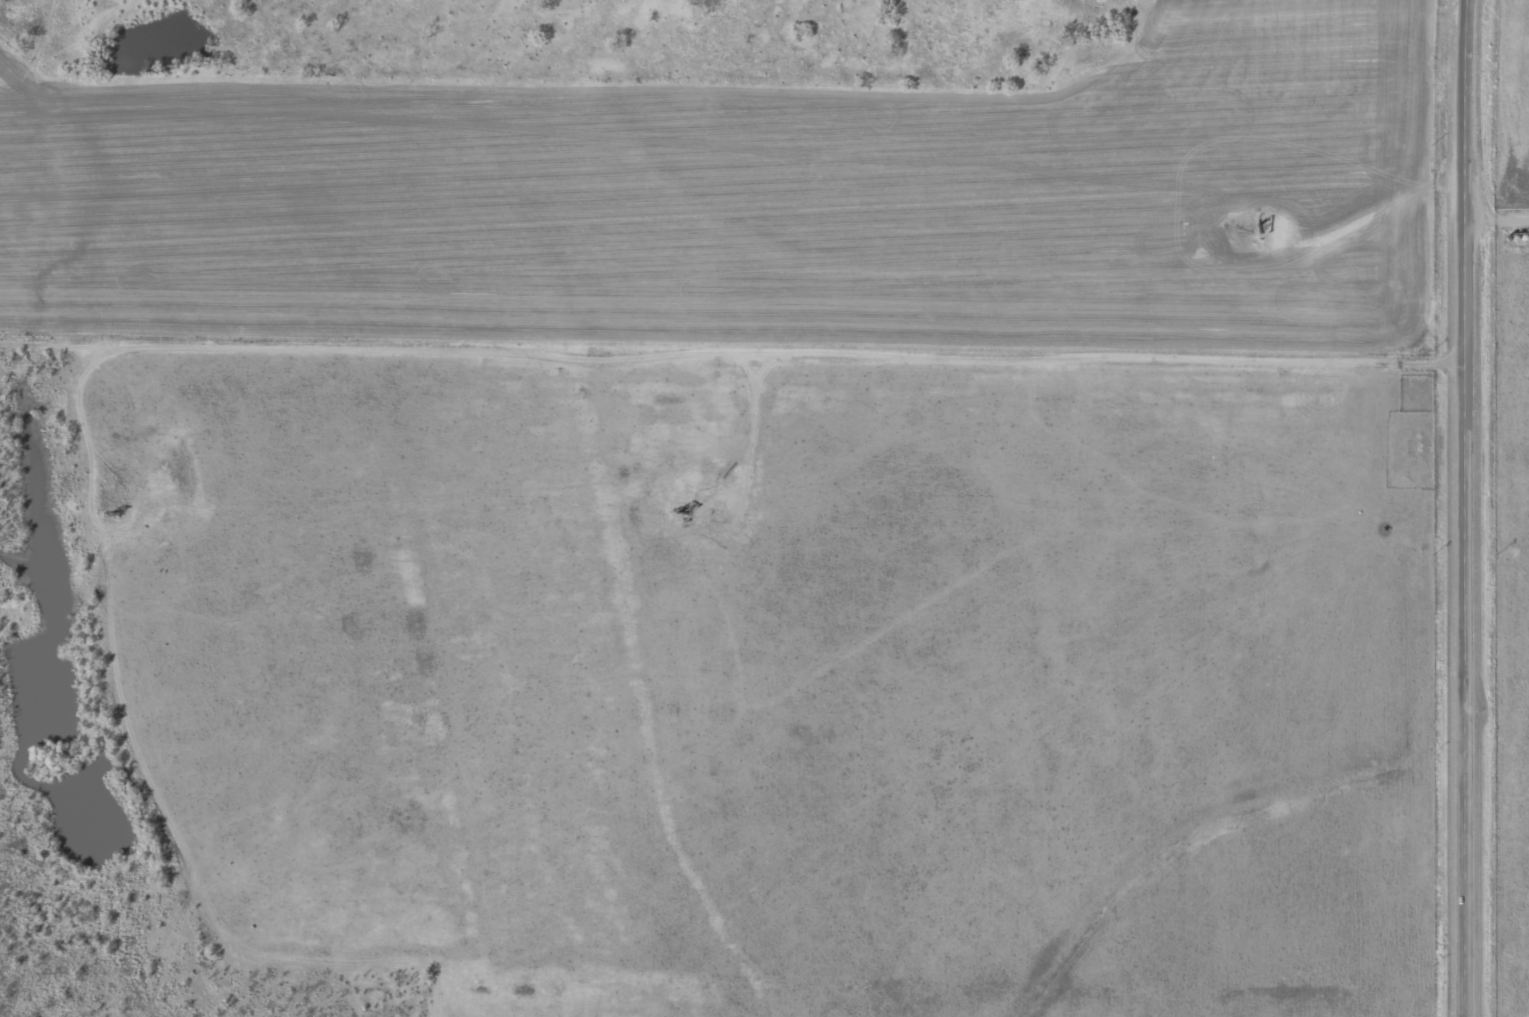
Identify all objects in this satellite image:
road: (1340, 22)
road: (1497, 196)
road: (1466, 508)

